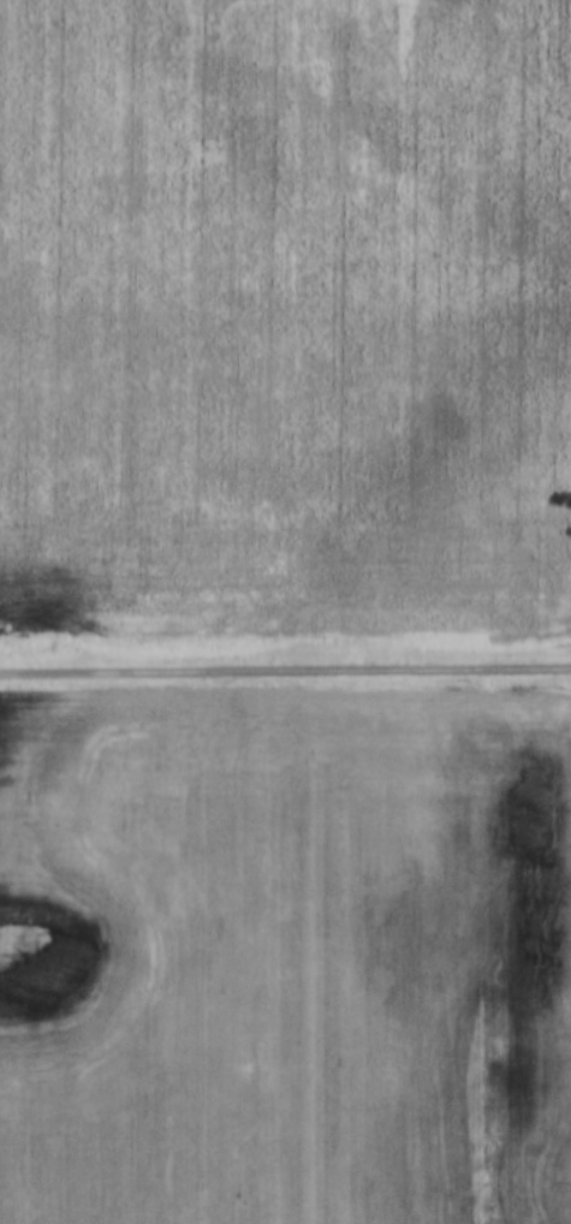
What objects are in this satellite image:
road: (285, 667)

